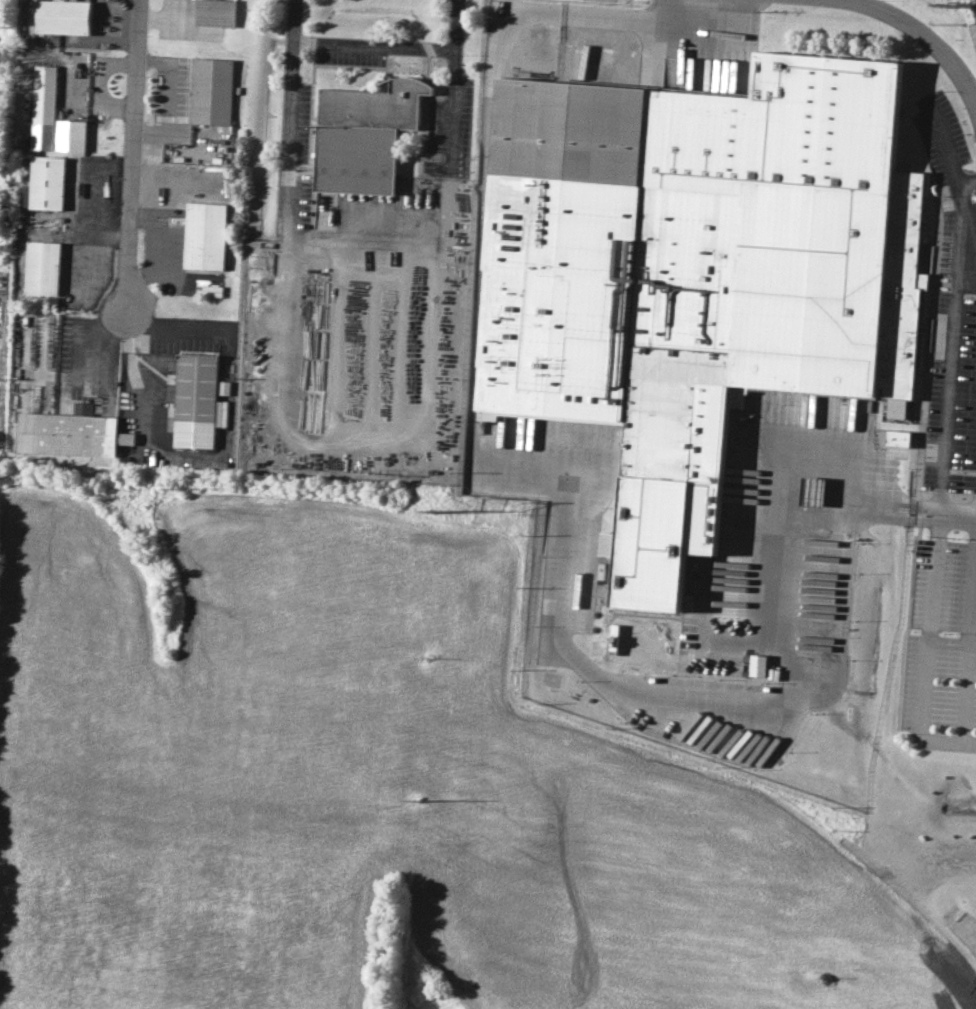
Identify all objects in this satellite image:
road: (884, 9)
road: (529, 10)
building: (214, 12)
road: (637, 16)
road: (290, 19)
road: (391, 45)
road: (947, 54)
building: (210, 91)
road: (165, 98)
building: (44, 107)
road: (449, 107)
building: (70, 135)
building: (363, 135)
road: (131, 163)
road: (966, 182)
building: (45, 184)
road: (968, 228)
building: (202, 236)
building: (41, 268)
building: (693, 273)
road: (954, 323)
road: (175, 331)
road: (424, 342)
road: (132, 379)
building: (193, 401)
building: (64, 434)
building: (898, 437)
building: (126, 438)
road: (798, 444)
road: (562, 556)
building: (579, 616)
road: (968, 645)
road: (926, 647)
building: (759, 664)
road: (970, 932)

